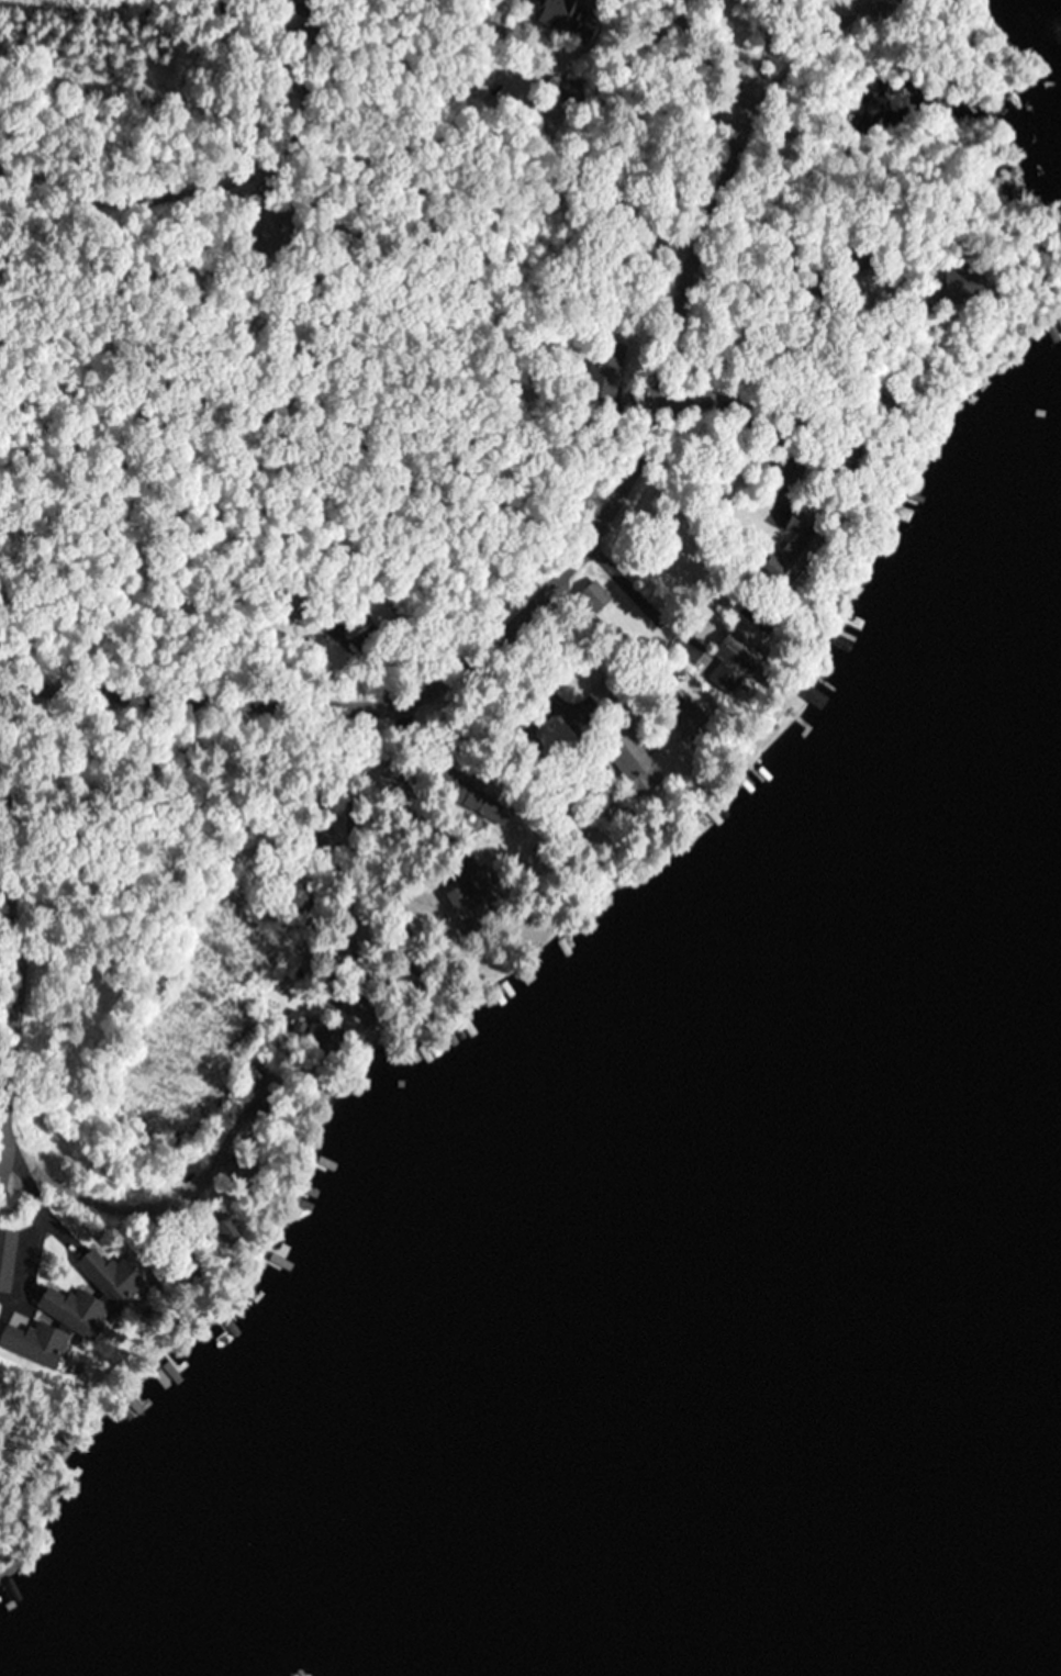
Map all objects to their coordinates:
building: (812, 2)
building: (555, 12)
road: (215, 176)
building: (970, 277)
road: (311, 326)
building: (606, 369)
road: (418, 414)
road: (368, 428)
building: (793, 549)
road: (535, 583)
building: (293, 611)
building: (380, 612)
building: (731, 664)
building: (606, 694)
building: (635, 760)
building: (470, 796)
building: (464, 905)
road: (1, 974)
building: (322, 1031)
building: (244, 1174)
building: (5, 1259)
building: (110, 1277)
building: (72, 1310)
building: (34, 1343)
river: (991, 1575)

